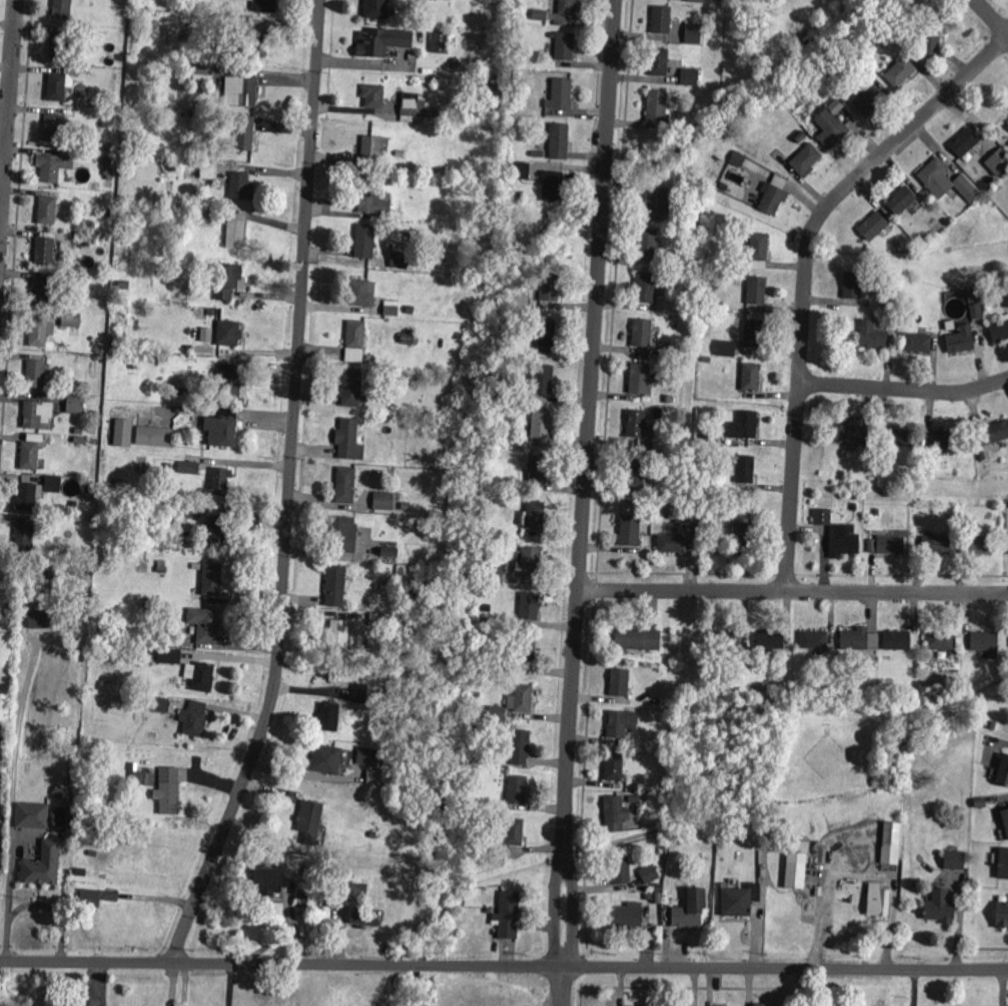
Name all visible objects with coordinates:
building: (695, 0)
building: (719, 0)
building: (264, 6)
building: (567, 7)
building: (375, 9)
building: (61, 10)
building: (698, 11)
building: (539, 15)
building: (885, 15)
road: (993, 16)
building: (661, 20)
building: (135, 21)
building: (931, 33)
building: (693, 34)
building: (383, 42)
building: (250, 43)
building: (442, 43)
building: (59, 46)
building: (565, 46)
building: (659, 62)
building: (900, 71)
building: (74, 72)
building: (202, 75)
building: (690, 77)
building: (56, 87)
building: (492, 88)
building: (241, 91)
building: (560, 95)
building: (373, 96)
building: (520, 96)
building: (868, 99)
building: (797, 103)
building: (192, 106)
building: (656, 107)
building: (412, 111)
building: (173, 115)
building: (196, 115)
road: (8, 121)
building: (53, 128)
building: (829, 128)
building: (243, 132)
building: (801, 138)
building: (558, 141)
building: (965, 144)
building: (373, 146)
building: (538, 154)
building: (736, 157)
building: (806, 159)
building: (106, 161)
building: (998, 163)
building: (207, 169)
building: (49, 170)
building: (521, 171)
building: (745, 173)
building: (946, 180)
building: (109, 185)
building: (552, 186)
building: (240, 187)
building: (522, 195)
building: (371, 197)
building: (658, 200)
building: (772, 200)
building: (903, 200)
building: (194, 204)
building: (687, 206)
building: (47, 211)
building: (107, 213)
building: (204, 218)
building: (676, 218)
building: (949, 223)
building: (873, 225)
building: (237, 235)
building: (83, 239)
building: (364, 241)
building: (649, 244)
building: (758, 247)
building: (45, 252)
building: (678, 257)
building: (399, 259)
building: (726, 263)
road: (807, 272)
building: (81, 280)
building: (227, 281)
building: (116, 284)
building: (852, 286)
building: (549, 287)
building: (646, 288)
building: (757, 291)
building: (40, 292)
building: (361, 292)
building: (976, 294)
building: (1005, 298)
building: (886, 303)
building: (391, 308)
building: (727, 308)
building: (409, 310)
building: (975, 311)
building: (895, 317)
building: (66, 318)
building: (937, 329)
building: (999, 330)
building: (38, 332)
building: (205, 333)
building: (546, 333)
building: (642, 334)
building: (755, 334)
building: (227, 335)
building: (409, 337)
building: (874, 340)
building: (355, 341)
building: (917, 343)
building: (961, 343)
building: (727, 350)
building: (669, 352)
building: (706, 360)
building: (35, 375)
building: (511, 378)
building: (752, 378)
building: (419, 379)
building: (640, 379)
building: (231, 380)
building: (542, 382)
building: (352, 387)
building: (75, 388)
road: (904, 388)
building: (668, 399)
building: (530, 402)
building: (76, 404)
building: (36, 414)
building: (658, 414)
building: (651, 415)
building: (541, 425)
building: (635, 425)
building: (744, 425)
building: (222, 428)
building: (126, 432)
building: (991, 433)
building: (853, 435)
building: (157, 436)
building: (899, 439)
building: (348, 440)
building: (947, 441)
building: (866, 450)
building: (527, 452)
building: (922, 452)
building: (982, 456)
building: (29, 457)
building: (884, 466)
building: (188, 469)
building: (537, 469)
building: (632, 471)
building: (745, 471)
building: (835, 476)
building: (221, 480)
building: (53, 484)
building: (345, 484)
road: (289, 489)
building: (28, 496)
building: (194, 498)
building: (383, 500)
road: (585, 502)
building: (647, 503)
building: (74, 506)
building: (406, 506)
building: (854, 507)
building: (707, 509)
building: (670, 512)
building: (877, 512)
building: (191, 513)
building: (684, 516)
building: (821, 516)
building: (535, 517)
building: (710, 531)
building: (630, 532)
building: (221, 534)
building: (27, 535)
building: (342, 535)
building: (742, 538)
building: (844, 541)
building: (490, 544)
building: (674, 544)
building: (890, 545)
building: (936, 546)
building: (981, 546)
building: (483, 550)
building: (389, 552)
building: (69, 554)
building: (530, 563)
building: (161, 570)
building: (492, 572)
building: (337, 579)
building: (212, 580)
building: (413, 588)
road: (793, 590)
building: (529, 607)
building: (149, 608)
building: (374, 617)
building: (488, 620)
building: (39, 621)
building: (206, 625)
building: (338, 638)
building: (164, 639)
building: (637, 640)
building: (727, 640)
building: (770, 640)
building: (814, 642)
building: (855, 642)
building: (900, 642)
building: (984, 642)
building: (941, 643)
building: (926, 655)
building: (169, 656)
building: (526, 658)
building: (480, 659)
building: (627, 662)
building: (744, 667)
building: (203, 677)
building: (620, 684)
building: (763, 687)
building: (788, 687)
building: (475, 688)
building: (845, 689)
building: (360, 694)
building: (521, 699)
building: (657, 703)
building: (159, 705)
building: (4, 707)
building: (497, 713)
building: (194, 718)
building: (328, 719)
building: (621, 725)
building: (993, 726)
building: (673, 733)
building: (120, 734)
building: (520, 750)
building: (367, 758)
building: (327, 759)
building: (614, 768)
building: (1003, 771)
building: (141, 778)
building: (517, 789)
building: (168, 791)
building: (58, 792)
building: (634, 800)
building: (669, 800)
building: (980, 803)
building: (614, 811)
building: (33, 815)
building: (310, 821)
building: (1005, 821)
building: (69, 833)
building: (515, 834)
building: (372, 835)
building: (890, 843)
building: (93, 856)
building: (675, 856)
building: (955, 860)
building: (796, 863)
building: (1003, 863)
building: (42, 868)
building: (620, 871)
building: (92, 872)
building: (648, 873)
building: (315, 874)
building: (267, 881)
building: (658, 888)
building: (357, 890)
building: (657, 896)
building: (647, 897)
building: (95, 898)
building: (740, 901)
building: (879, 904)
building: (939, 906)
building: (690, 909)
building: (628, 915)
building: (1001, 915)
building: (364, 917)
building: (509, 917)
road: (504, 964)
road: (172, 983)
road: (229, 984)
building: (761, 1004)
building: (685, 1005)

